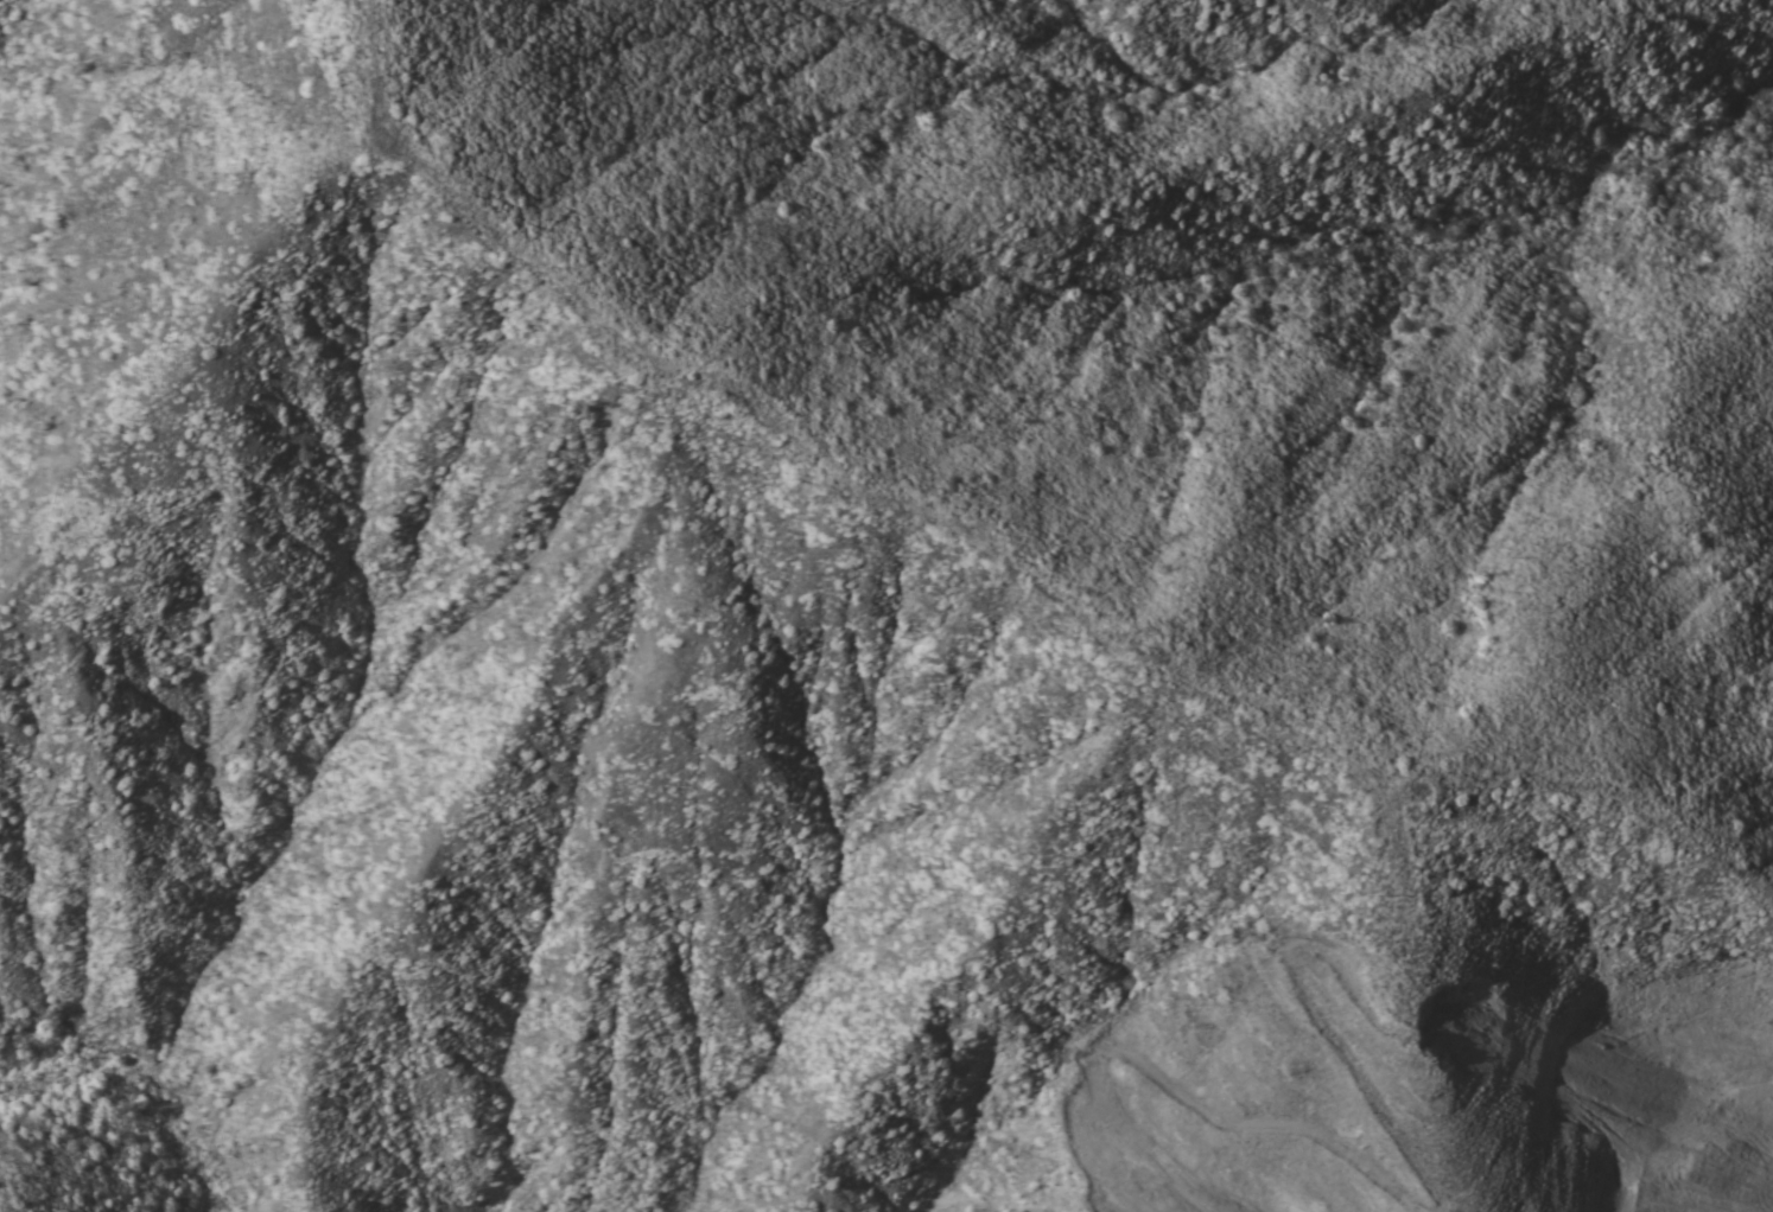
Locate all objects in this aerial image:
quarry: (1385, 1070)

